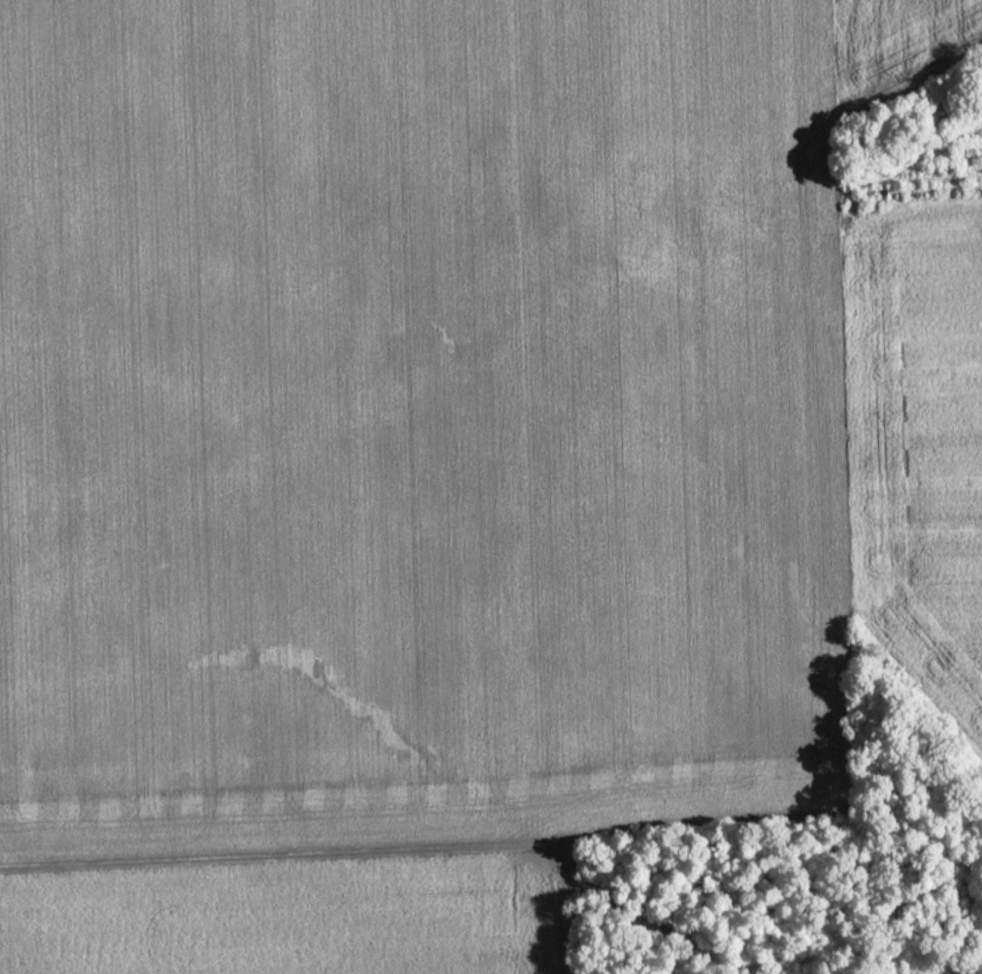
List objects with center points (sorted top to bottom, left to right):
crop: (419, 420)

